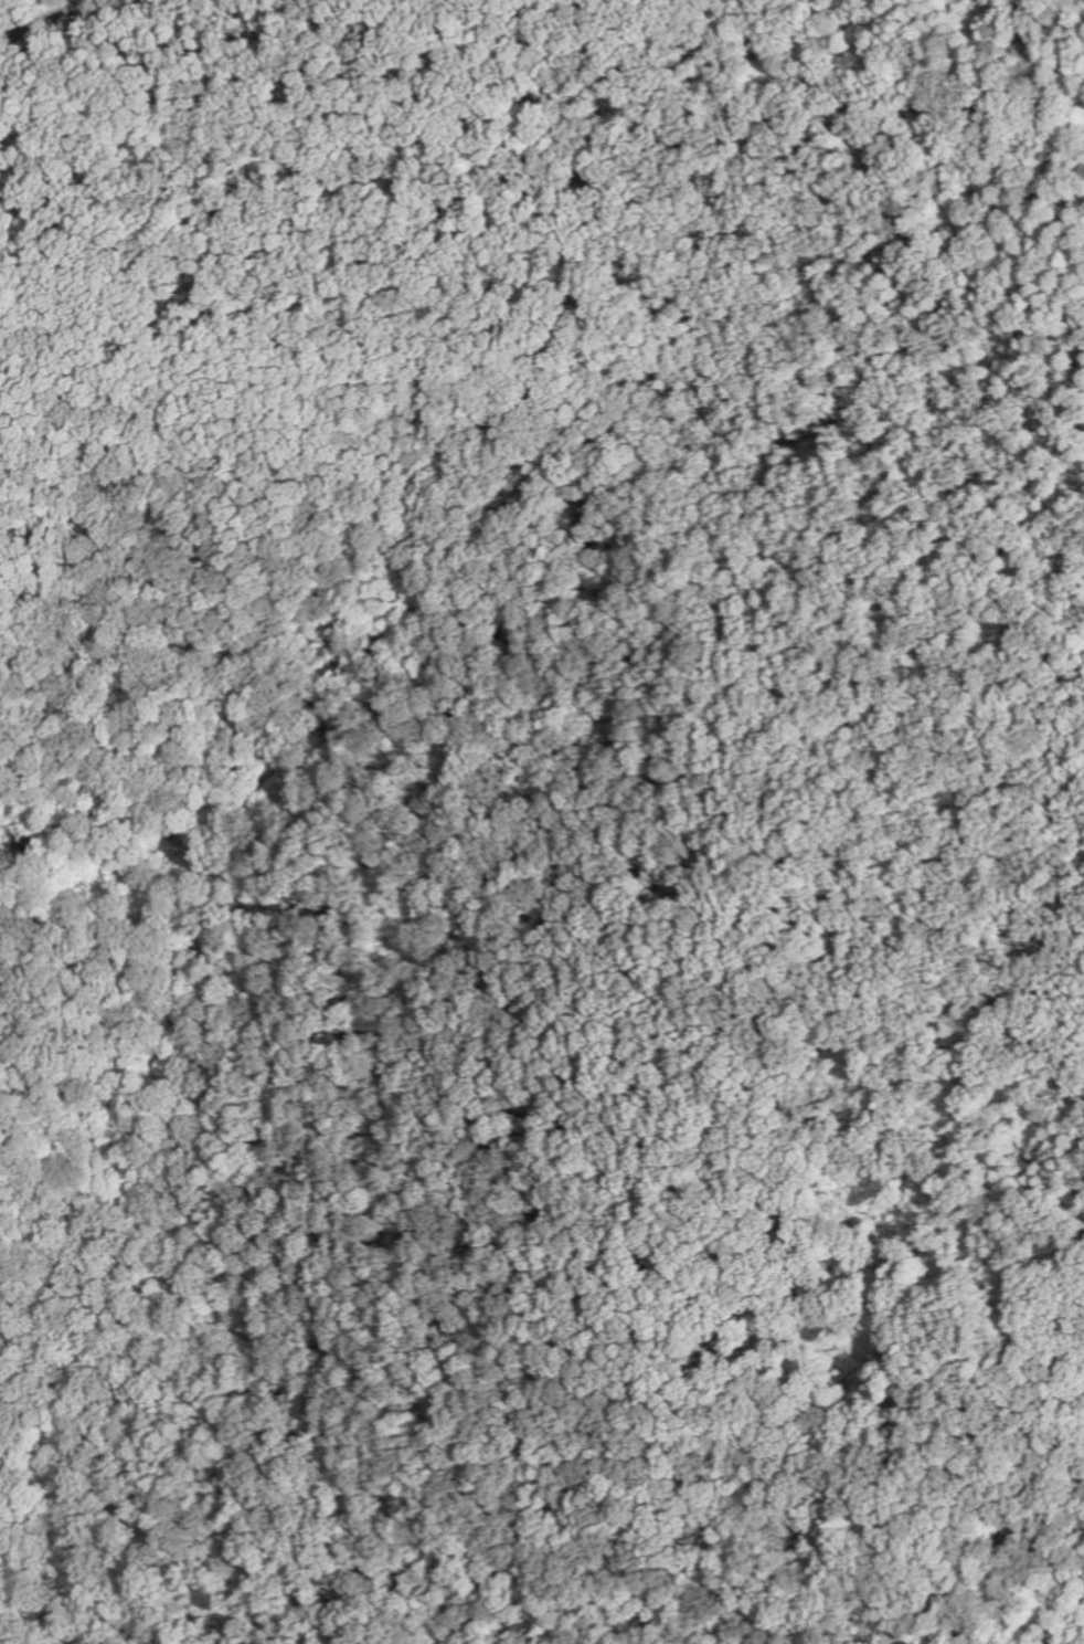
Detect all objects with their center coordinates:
road: (43, 19)
road: (873, 103)
road: (256, 1048)

